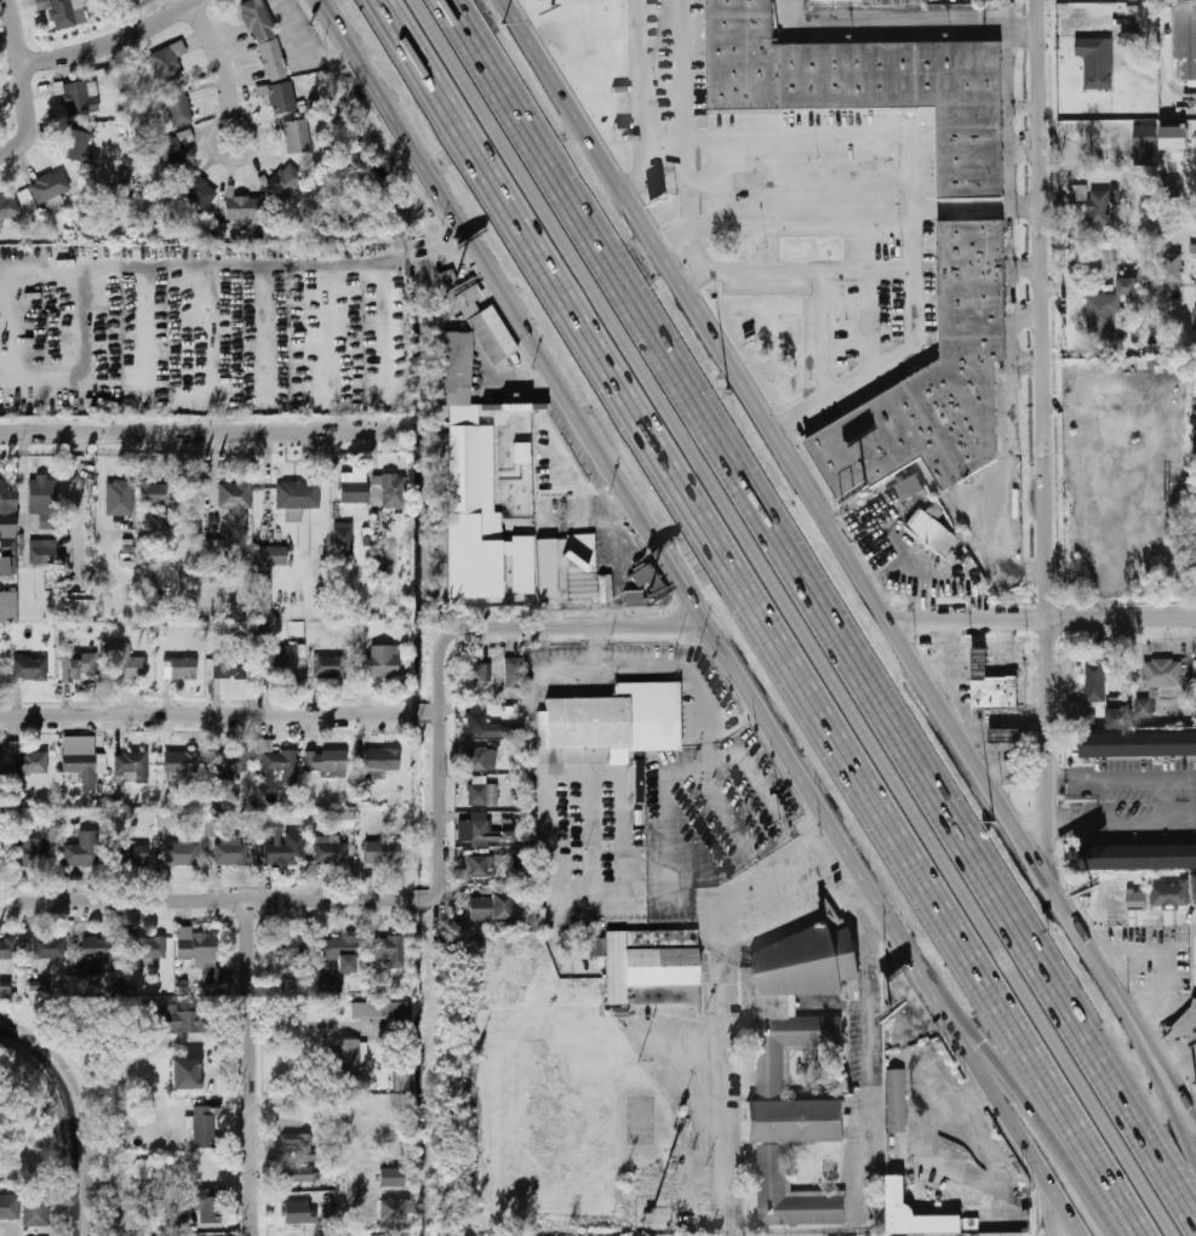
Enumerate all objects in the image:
building: (830, 0)
building: (63, 12)
road: (883, 21)
road: (1022, 22)
road: (17, 33)
building: (264, 39)
road: (115, 42)
building: (1178, 42)
building: (1100, 56)
building: (166, 65)
road: (227, 78)
building: (869, 85)
road: (641, 88)
building: (81, 97)
building: (281, 97)
road: (1023, 103)
building: (178, 105)
road: (1008, 115)
road: (29, 119)
building: (297, 136)
building: (1174, 136)
road: (742, 139)
building: (1144, 144)
building: (173, 147)
building: (78, 148)
road: (1023, 149)
road: (681, 160)
road: (785, 178)
building: (122, 183)
building: (284, 183)
building: (1169, 188)
building: (50, 190)
building: (198, 193)
building: (1097, 205)
building: (7, 206)
building: (242, 207)
road: (974, 208)
building: (268, 229)
road: (910, 231)
road: (282, 263)
building: (1173, 267)
road: (794, 269)
building: (463, 296)
building: (1109, 305)
building: (1194, 319)
road: (326, 324)
road: (145, 326)
road: (382, 326)
road: (264, 330)
road: (822, 332)
building: (497, 334)
building: (937, 380)
building: (527, 408)
road: (1042, 428)
road: (216, 429)
building: (521, 453)
road: (801, 476)
building: (354, 487)
building: (910, 487)
building: (389, 491)
building: (153, 493)
building: (480, 493)
building: (119, 498)
building: (297, 498)
building: (42, 499)
building: (235, 504)
building: (931, 528)
building: (7, 530)
building: (343, 538)
flagpole: (933, 542)
building: (888, 547)
building: (42, 551)
building: (219, 553)
building: (269, 555)
building: (645, 588)
building: (262, 595)
road: (822, 605)
building: (7, 606)
building: (82, 607)
road: (700, 617)
road: (797, 617)
road: (762, 618)
road: (1042, 620)
road: (605, 626)
road: (1005, 633)
road: (950, 637)
road: (982, 645)
building: (284, 662)
building: (380, 662)
building: (980, 662)
building: (125, 663)
building: (231, 663)
building: (76, 665)
road: (636, 665)
building: (328, 666)
road: (689, 668)
building: (30, 669)
building: (179, 669)
building: (1195, 670)
building: (480, 671)
building: (513, 673)
building: (1162, 673)
building: (995, 692)
building: (1091, 693)
building: (1144, 708)
building: (476, 714)
road: (222, 715)
road: (532, 716)
building: (1120, 717)
building: (617, 720)
road: (708, 729)
building: (1008, 734)
building: (1139, 744)
road: (444, 745)
building: (82, 760)
building: (481, 760)
building: (179, 761)
building: (325, 761)
building: (379, 761)
building: (227, 765)
building: (277, 766)
building: (131, 767)
road: (749, 769)
road: (1127, 774)
building: (639, 788)
building: (482, 792)
building: (344, 819)
building: (214, 823)
building: (476, 829)
road: (1121, 831)
building: (85, 849)
building: (230, 851)
building: (286, 851)
building: (330, 851)
building: (382, 852)
building: (33, 853)
building: (130, 854)
building: (181, 854)
building: (1138, 856)
building: (480, 866)
road: (682, 874)
building: (1195, 886)
building: (1171, 895)
building: (1137, 900)
road: (214, 903)
building: (491, 906)
building: (50, 946)
building: (196, 948)
building: (6, 949)
building: (148, 949)
building: (288, 949)
building: (586, 949)
building: (388, 950)
building: (101, 951)
building: (341, 952)
building: (652, 967)
building: (284, 977)
road: (1108, 979)
building: (330, 985)
building: (4, 989)
building: (380, 1009)
building: (1188, 1018)
building: (182, 1020)
road: (868, 1036)
road: (1145, 1037)
building: (348, 1058)
road: (252, 1069)
building: (769, 1071)
building: (185, 1074)
road: (1011, 1080)
road: (1160, 1082)
building: (898, 1098)
road: (723, 1099)
river: (73, 1116)
road: (971, 1122)
building: (201, 1126)
building: (299, 1146)
building: (294, 1175)
building: (391, 1177)
building: (201, 1203)
building: (899, 1206)
building: (10, 1207)
building: (35, 1208)
building: (395, 1208)
building: (298, 1213)
road: (1055, 1218)
building: (172, 1221)

